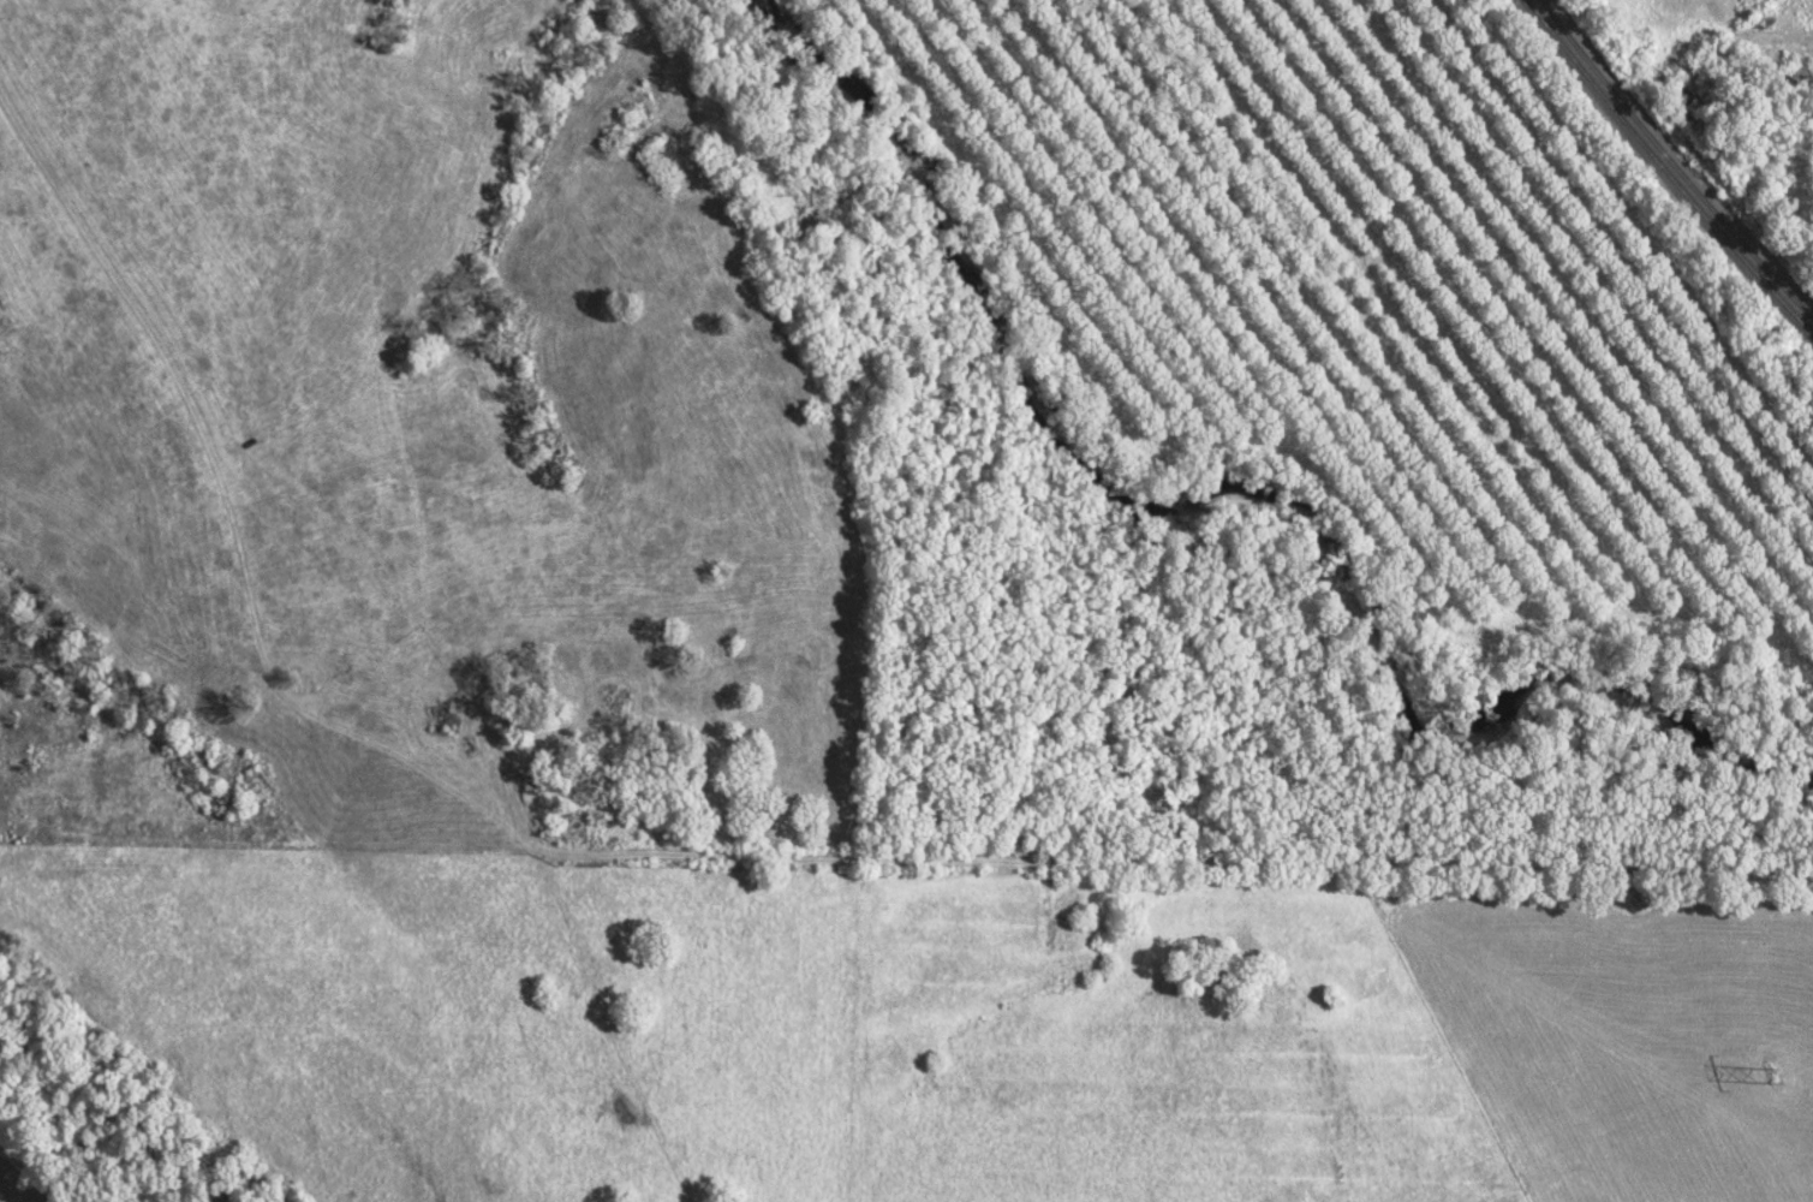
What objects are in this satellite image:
railway: (1670, 162)
railway: (1665, 171)
power tower: (1770, 1077)

